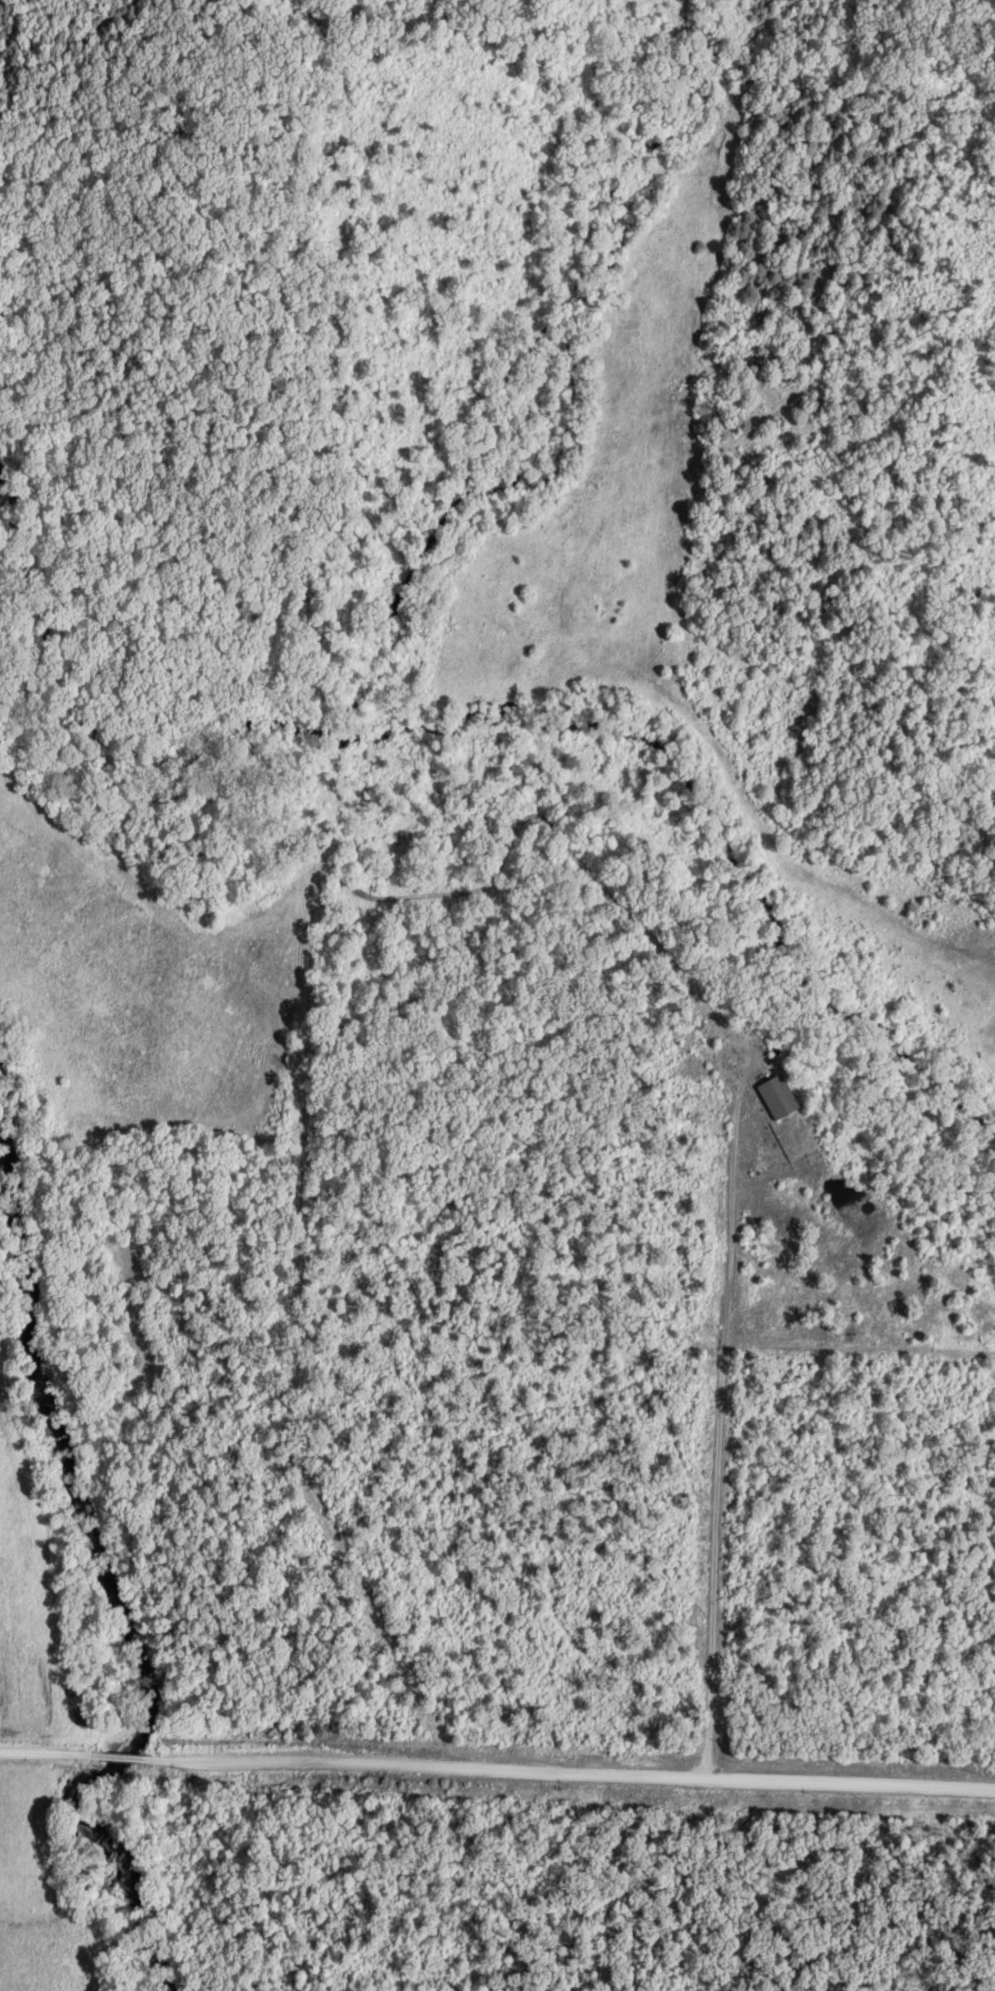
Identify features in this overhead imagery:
building: (778, 1097)
road: (497, 1770)

